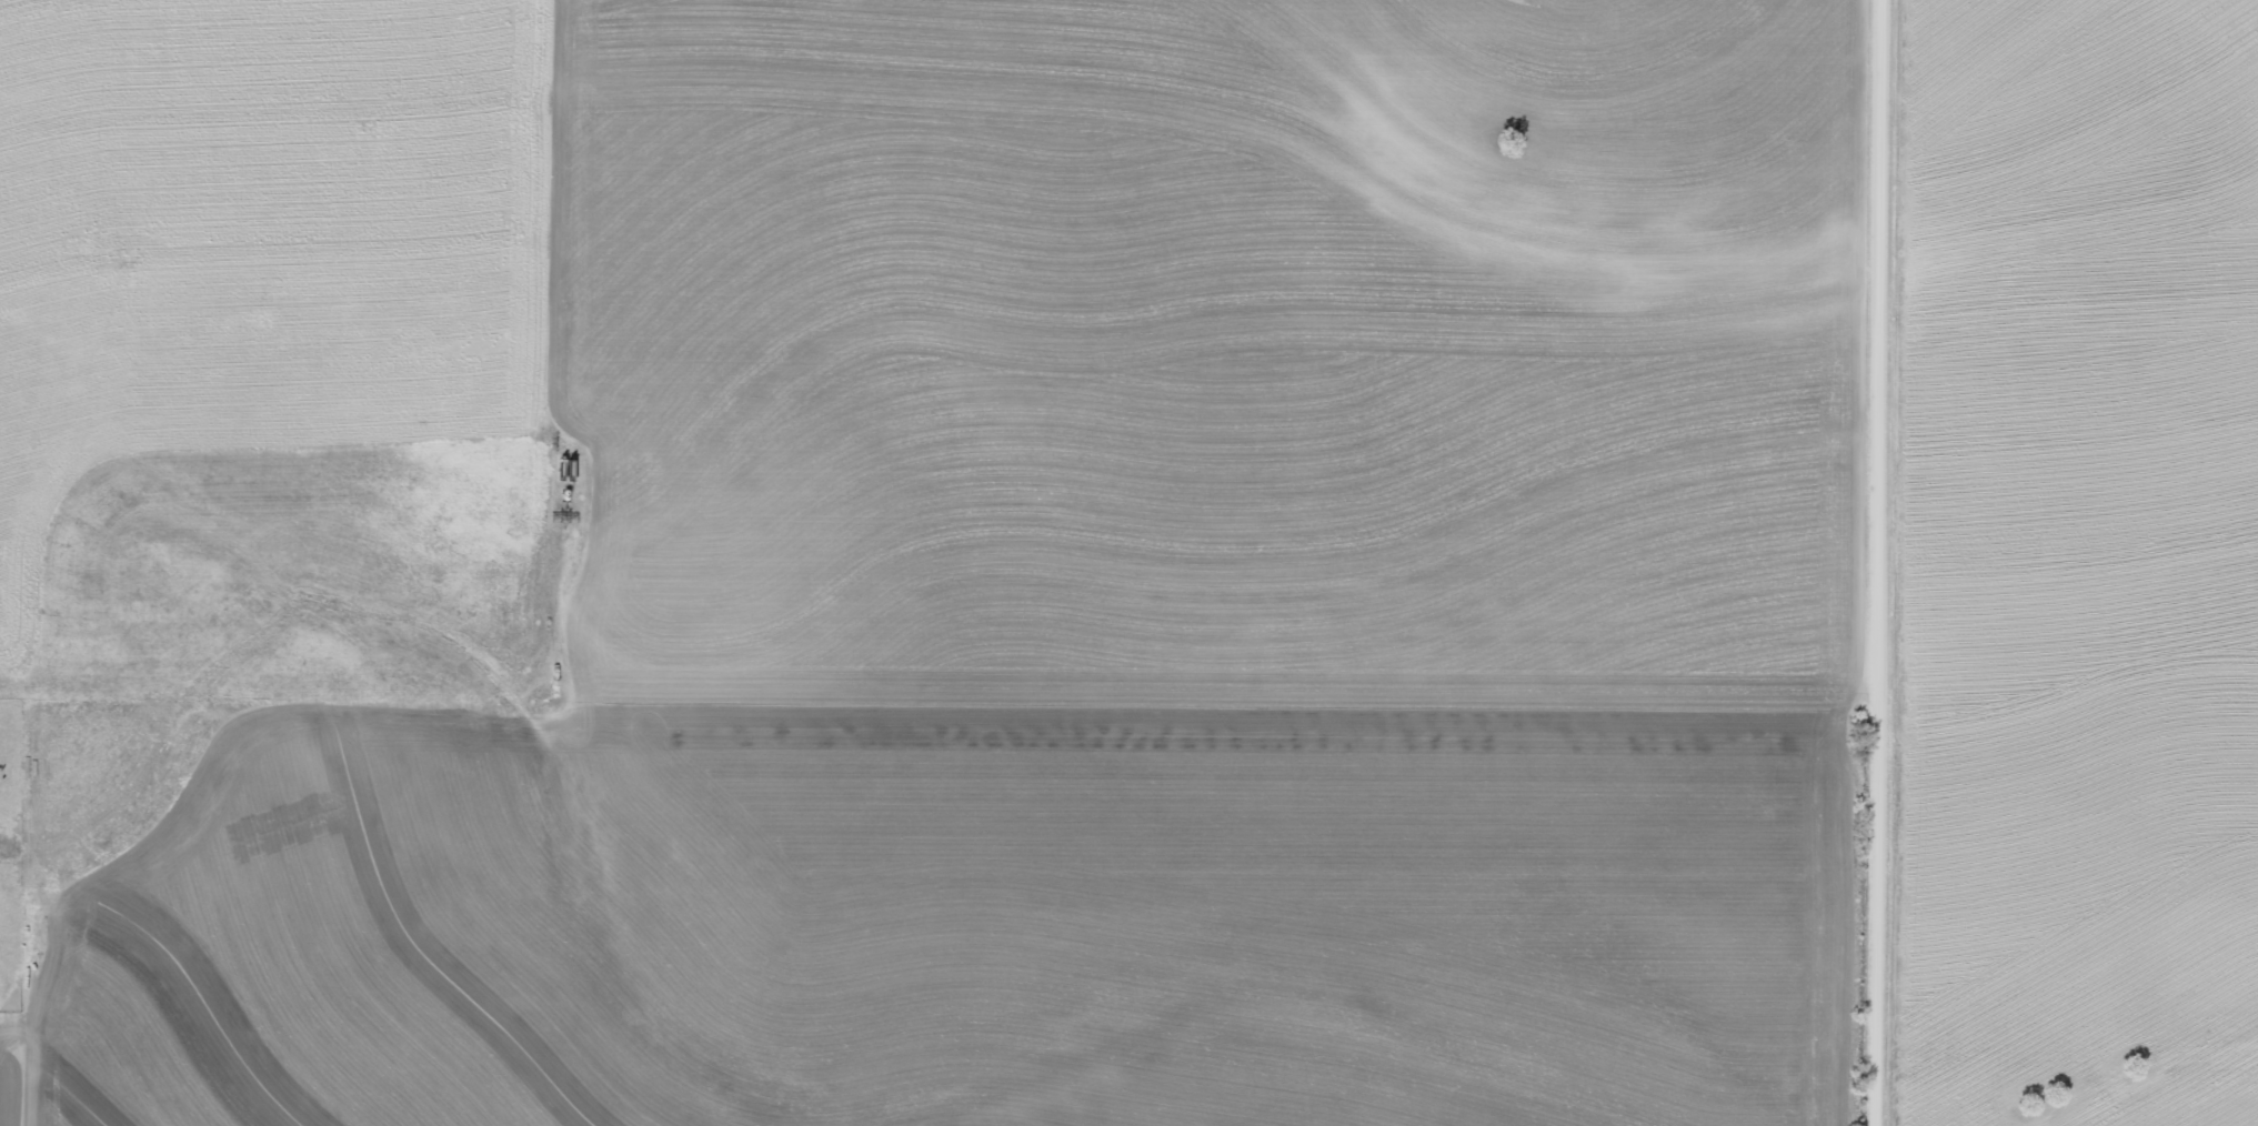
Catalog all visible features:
road: (1891, 563)

